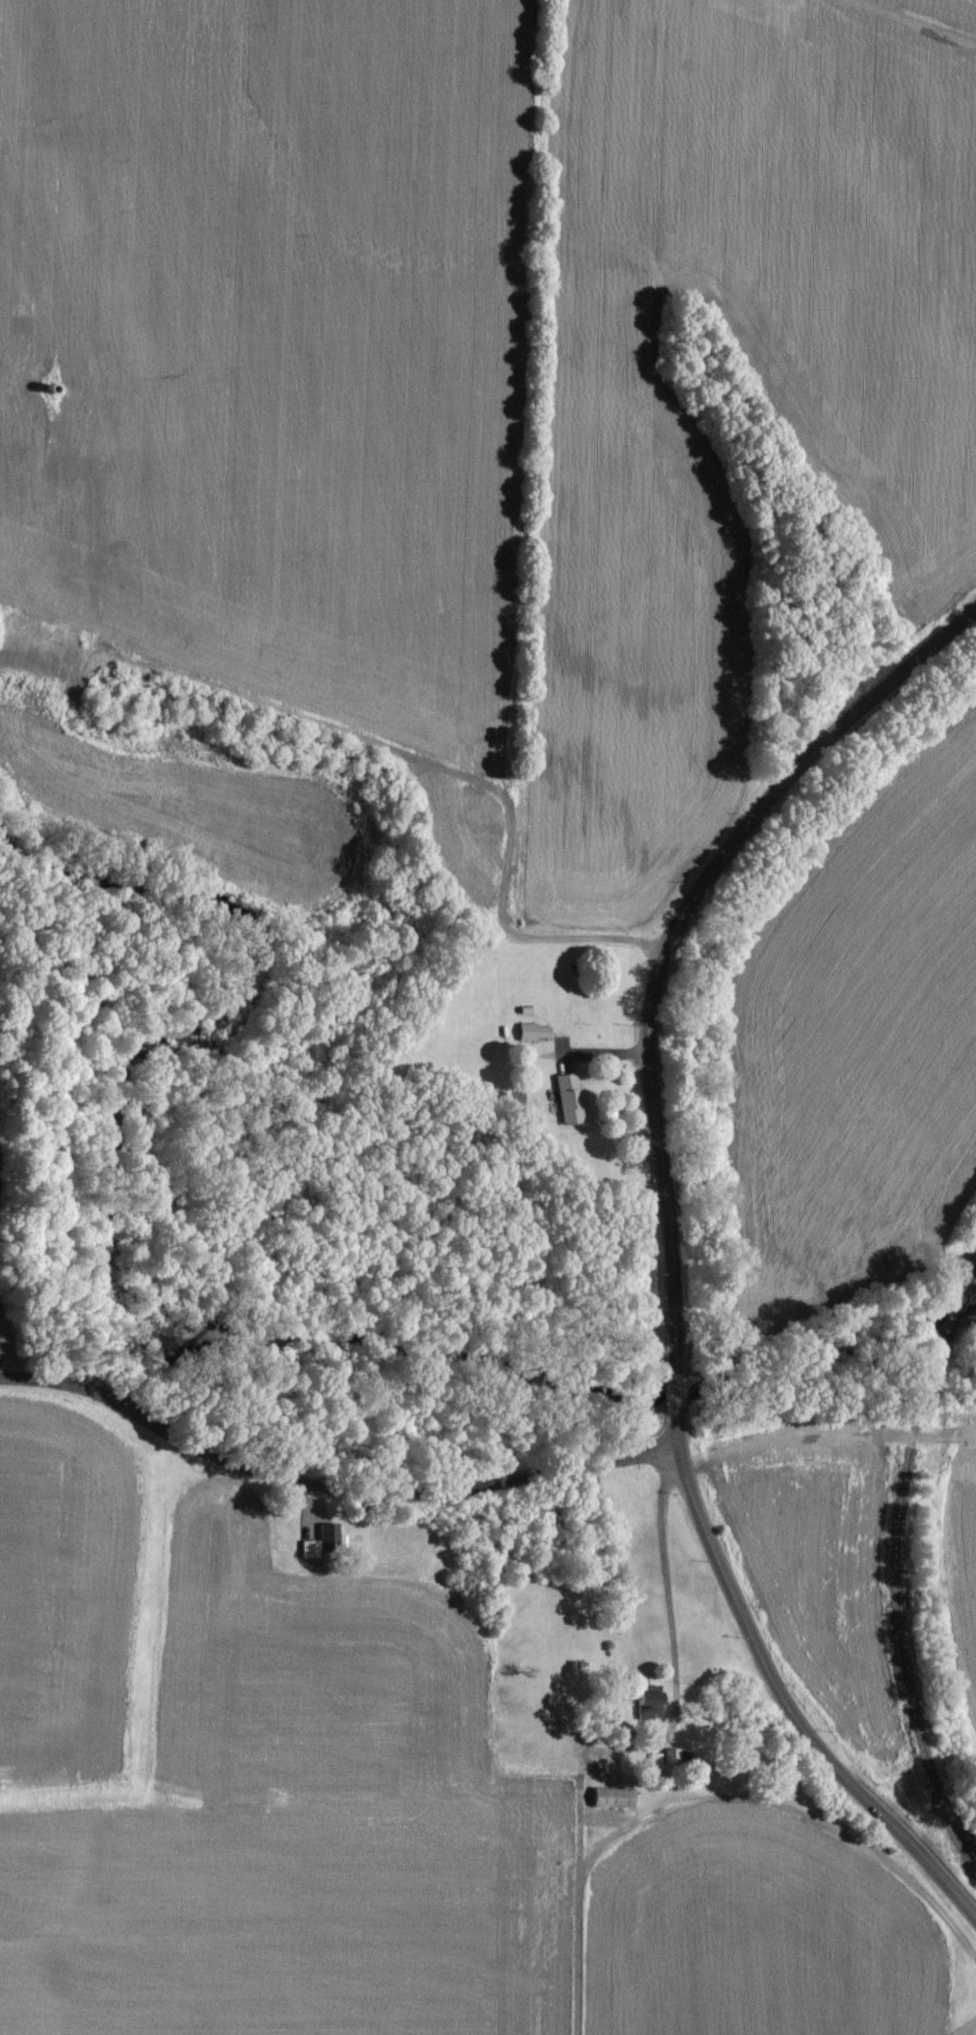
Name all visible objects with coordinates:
road: (338, 730)
road: (676, 920)
building: (533, 1033)
building: (568, 1100)
road: (674, 1381)
road: (328, 1459)
building: (320, 1541)
railway: (896, 1566)
road: (778, 1692)
road: (637, 1742)
building: (654, 1760)
building: (610, 1798)

